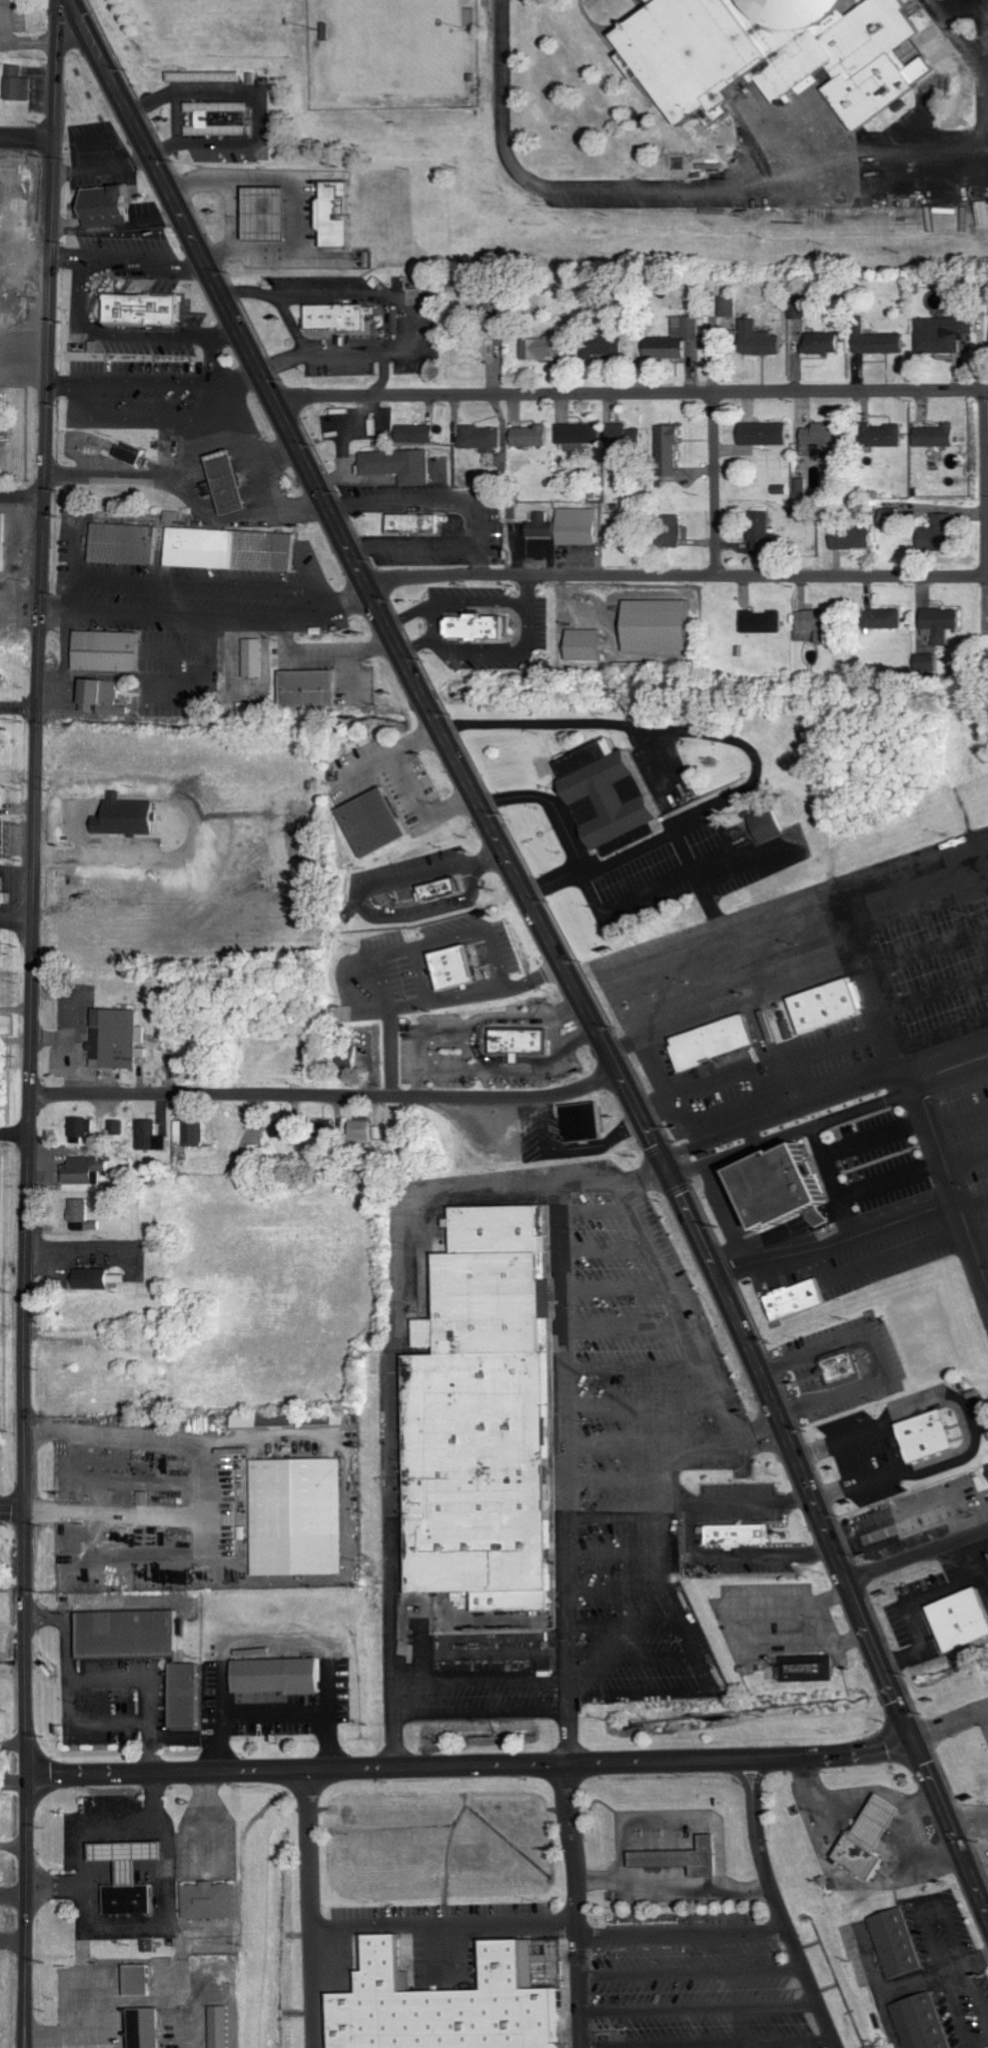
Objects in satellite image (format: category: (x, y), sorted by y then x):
park: (395, 43)
building: (764, 53)
building: (207, 77)
building: (19, 85)
building: (220, 107)
building: (210, 119)
building: (224, 131)
road: (26, 135)
building: (107, 205)
building: (271, 215)
gas station: (273, 215)
building: (341, 215)
road: (247, 291)
building: (149, 310)
building: (344, 318)
road: (290, 320)
building: (942, 334)
road: (416, 337)
building: (673, 338)
building: (757, 339)
building: (874, 340)
building: (820, 342)
building: (601, 345)
building: (542, 348)
road: (384, 371)
road: (628, 389)
building: (414, 433)
building: (578, 433)
building: (762, 433)
building: (623, 434)
building: (531, 435)
building: (879, 435)
building: (933, 435)
building: (480, 436)
building: (822, 437)
building: (667, 450)
building: (134, 453)
building: (397, 465)
road: (984, 478)
building: (231, 482)
road: (717, 482)
road: (21, 501)
building: (174, 517)
building: (410, 522)
building: (541, 525)
building: (577, 526)
building: (671, 530)
building: (759, 530)
building: (935, 534)
building: (850, 538)
building: (3, 541)
building: (127, 544)
building: (234, 550)
road: (676, 576)
building: (881, 618)
building: (938, 619)
building: (760, 621)
building: (655, 625)
building: (471, 626)
building: (583, 644)
building: (113, 651)
building: (257, 658)
building: (928, 662)
building: (3, 677)
building: (314, 688)
building: (107, 697)
road: (18, 709)
building: (4, 746)
building: (2, 791)
building: (602, 796)
building: (378, 822)
building: (763, 825)
building: (3, 839)
road: (917, 859)
building: (446, 890)
building: (4, 892)
road: (924, 904)
road: (16, 919)
road: (553, 946)
road: (931, 948)
building: (2, 952)
building: (463, 967)
road: (939, 995)
building: (823, 1005)
road: (30, 1023)
road: (946, 1037)
building: (121, 1039)
building: (525, 1041)
building: (706, 1041)
road: (765, 1067)
road: (953, 1075)
road: (917, 1086)
road: (776, 1091)
road: (325, 1094)
road: (786, 1115)
building: (586, 1122)
road: (961, 1123)
building: (118, 1128)
building: (84, 1131)
building: (193, 1132)
building: (366, 1132)
road: (793, 1132)
road: (14, 1134)
building: (154, 1136)
road: (877, 1138)
road: (967, 1164)
building: (88, 1171)
road: (835, 1181)
road: (893, 1182)
building: (763, 1185)
road: (974, 1209)
road: (596, 1212)
building: (84, 1216)
building: (499, 1226)
road: (839, 1246)
road: (604, 1247)
road: (981, 1250)
road: (882, 1262)
building: (98, 1279)
road: (613, 1284)
building: (792, 1300)
building: (491, 1303)
road: (677, 1308)
road: (623, 1327)
road: (393, 1353)
road: (631, 1364)
building: (839, 1367)
road: (640, 1400)
building: (484, 1409)
building: (276, 1421)
building: (919, 1426)
road: (673, 1438)
building: (925, 1446)
building: (987, 1469)
road: (564, 1473)
building: (486, 1477)
road: (613, 1477)
building: (486, 1500)
road: (12, 1508)
road: (614, 1513)
building: (300, 1514)
building: (733, 1534)
road: (614, 1547)
building: (490, 1558)
road: (918, 1559)
road: (616, 1587)
building: (958, 1619)
road: (625, 1620)
road: (688, 1632)
building: (135, 1635)
road: (634, 1658)
building: (807, 1668)
building: (282, 1676)
road: (482, 1677)
building: (192, 1696)
road: (483, 1712)
road: (951, 1725)
road: (471, 1764)
road: (759, 1776)
road: (742, 1777)
road: (968, 1819)
gas station: (871, 1822)
building: (677, 1856)
building: (851, 1856)
building: (134, 1876)
building: (213, 1901)
road: (576, 1905)
road: (311, 1907)
road: (444, 1923)
road: (787, 1925)
road: (683, 1933)
building: (895, 1942)
building: (150, 1945)
road: (692, 1970)
building: (143, 1981)
building: (446, 2004)
road: (700, 2005)
building: (920, 2022)
road: (708, 2041)
building: (157, 2047)

